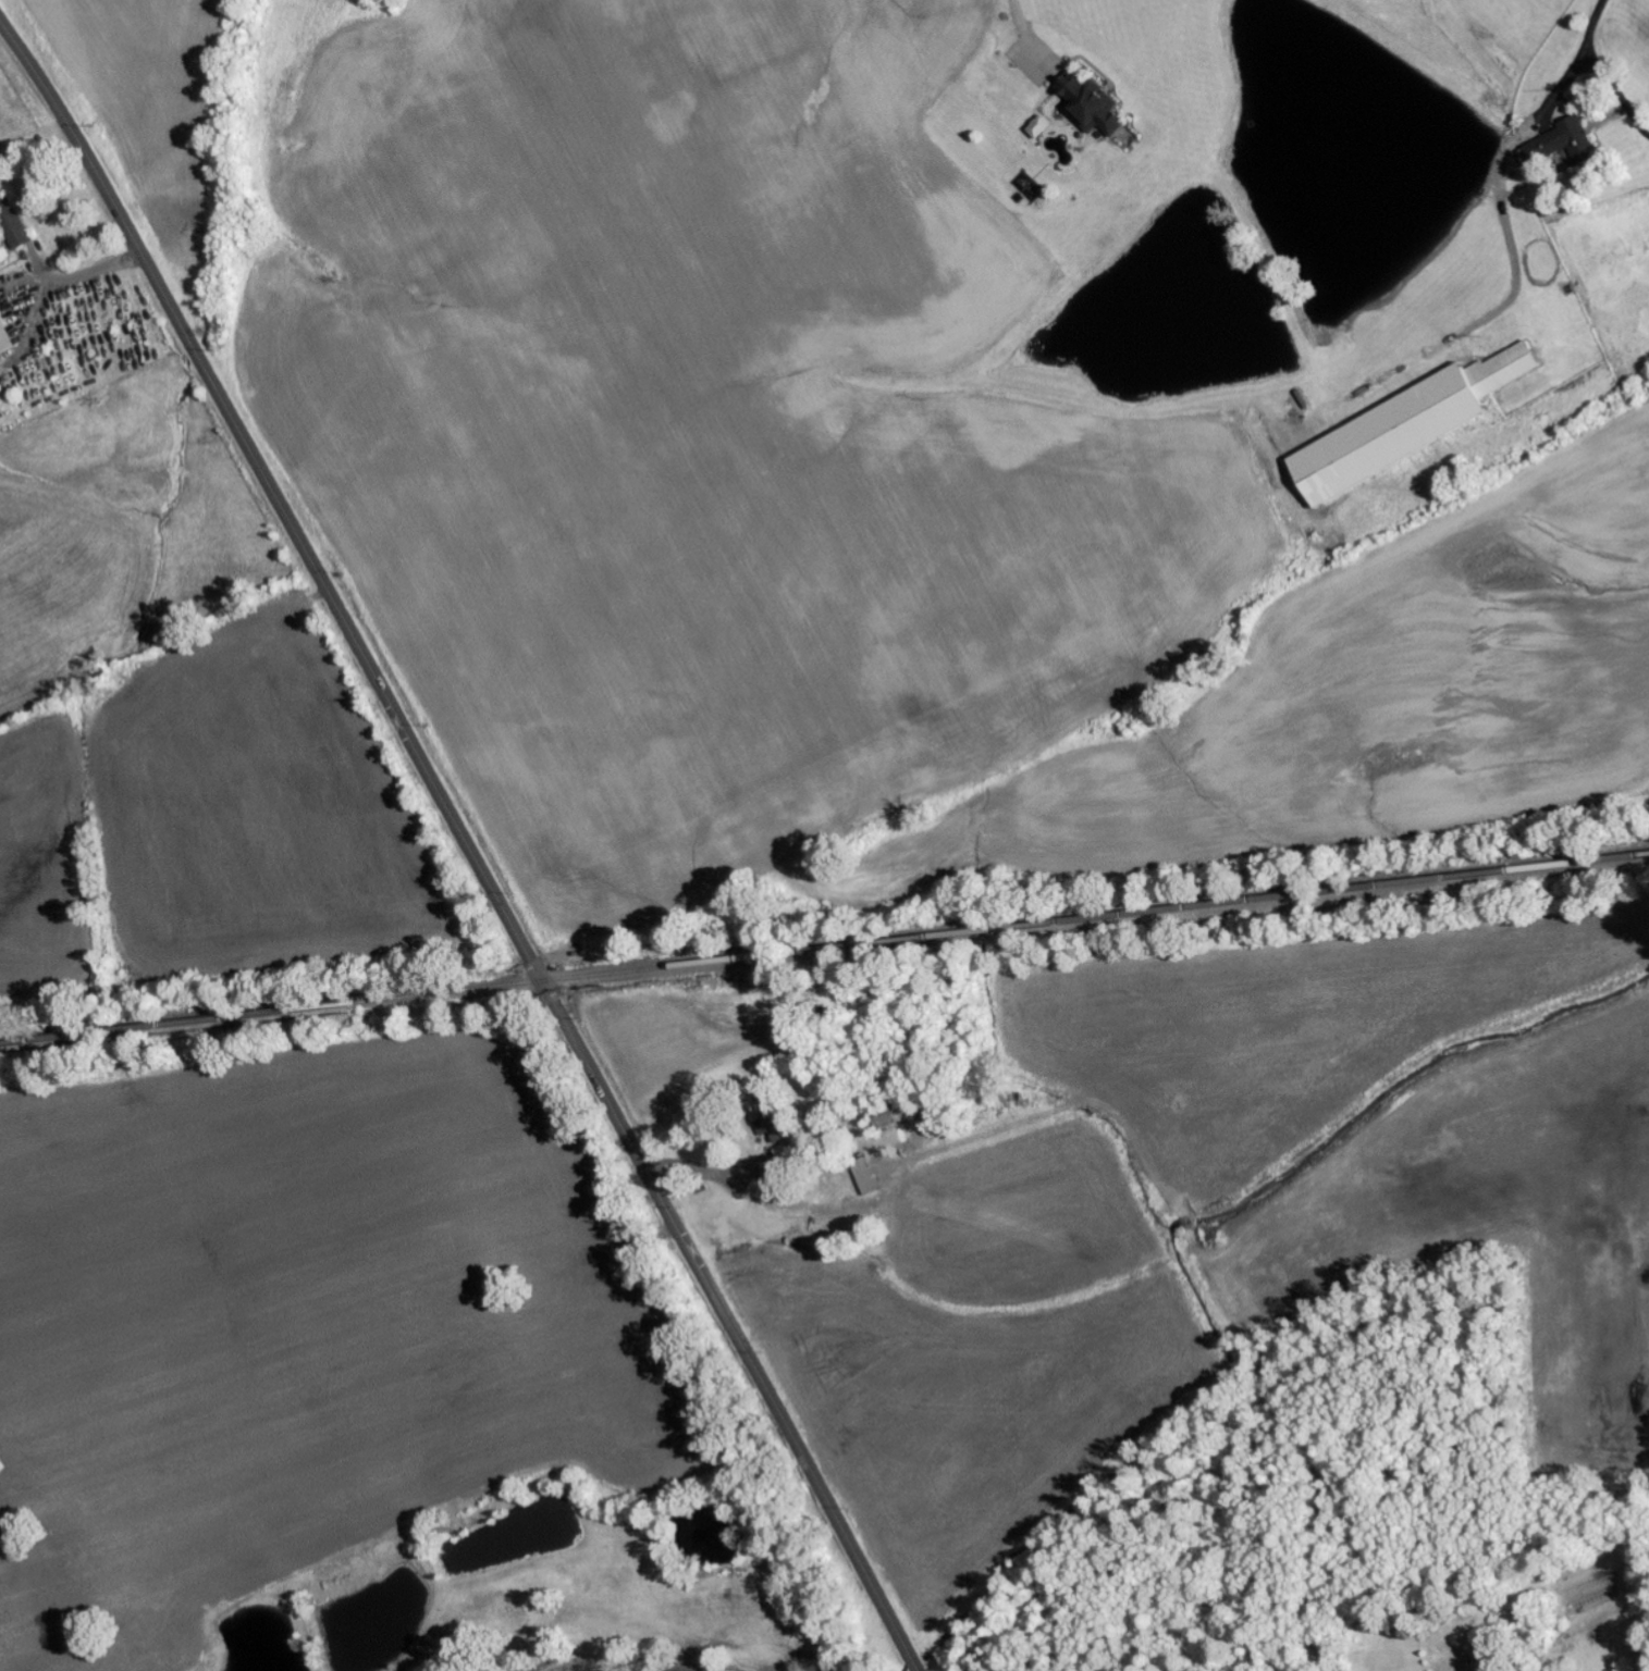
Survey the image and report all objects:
building: (1088, 104)
building: (1570, 141)
building: (21, 226)
building: (7, 334)
building: (1403, 426)
road: (464, 843)
railway: (824, 950)
building: (780, 1129)
building: (788, 1153)
building: (871, 1176)

